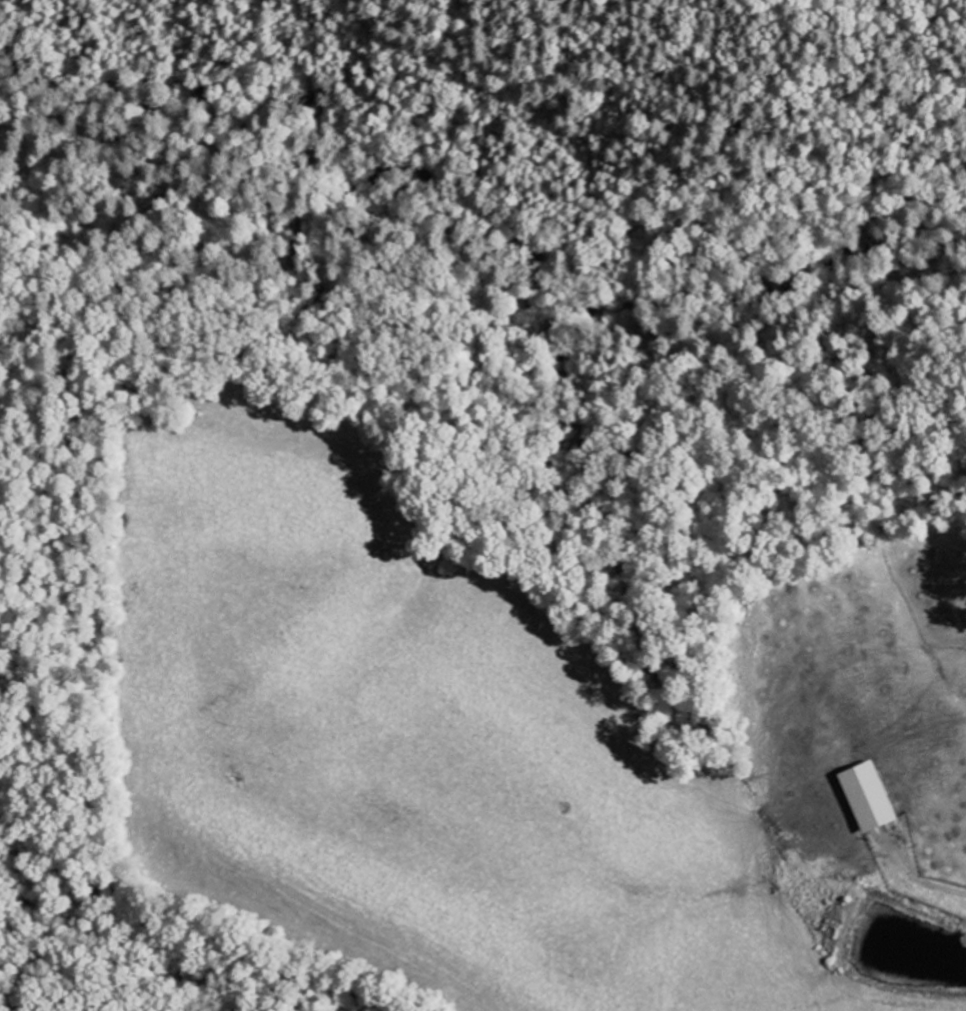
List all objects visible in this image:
building: (867, 797)

